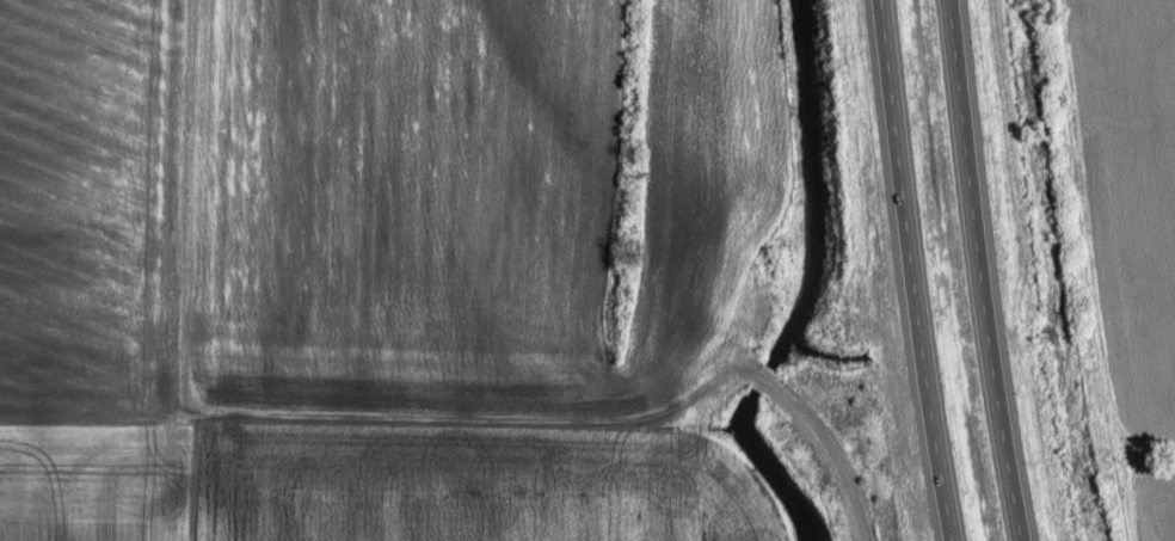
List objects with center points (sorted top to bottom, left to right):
road: (918, 270)
road: (988, 271)
road: (848, 514)

